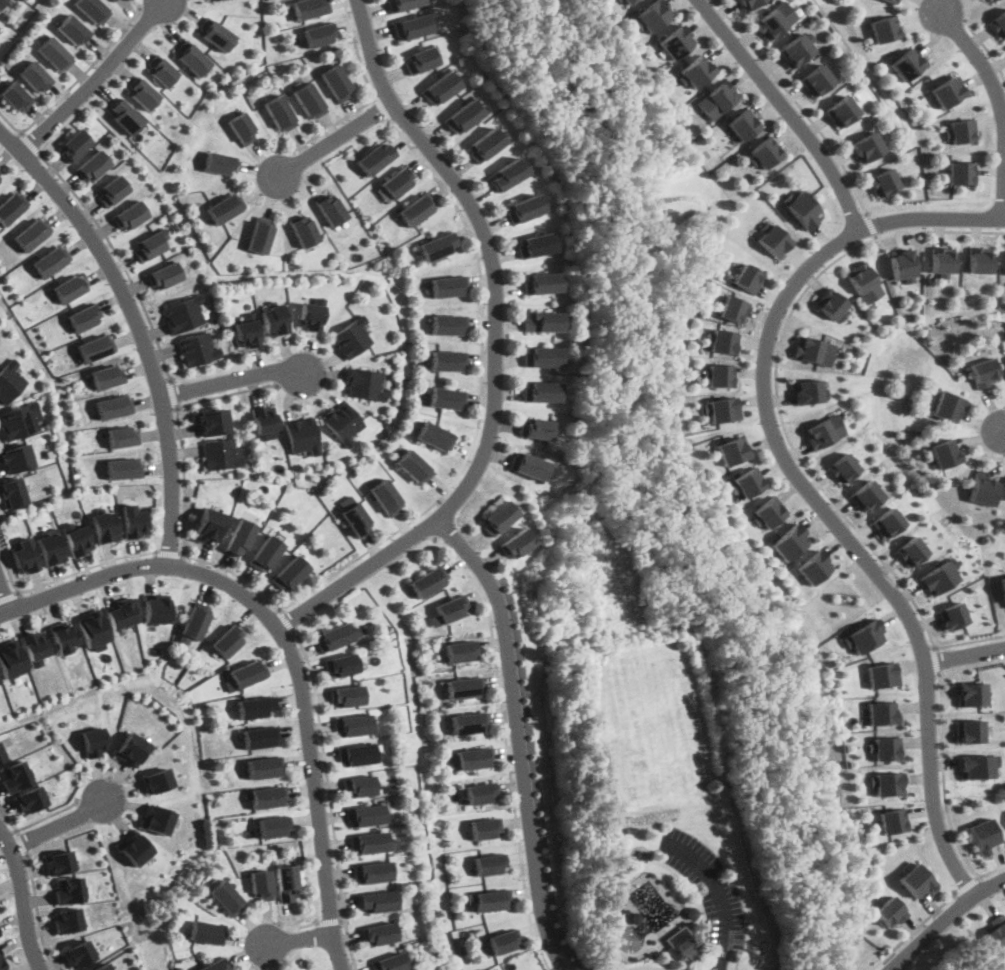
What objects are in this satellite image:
building: (213, 0)
building: (894, 0)
building: (991, 0)
building: (114, 2)
building: (628, 2)
building: (3, 4)
building: (748, 4)
building: (308, 8)
building: (403, 8)
building: (91, 14)
building: (652, 16)
building: (775, 20)
building: (999, 24)
building: (883, 28)
building: (318, 34)
building: (412, 34)
building: (73, 37)
building: (219, 40)
building: (676, 42)
road: (986, 47)
building: (796, 50)
building: (54, 58)
road: (980, 59)
building: (194, 62)
building: (908, 63)
building: (419, 65)
building: (696, 71)
road: (84, 72)
building: (162, 72)
road: (94, 79)
building: (817, 80)
building: (32, 83)
building: (336, 88)
building: (948, 91)
building: (439, 93)
road: (373, 96)
building: (716, 100)
building: (144, 101)
building: (12, 103)
building: (307, 103)
road: (799, 104)
road: (383, 108)
road: (786, 110)
building: (841, 111)
building: (277, 118)
building: (127, 121)
building: (461, 121)
road: (9, 124)
building: (741, 125)
building: (961, 129)
building: (240, 132)
road: (335, 140)
building: (76, 142)
road: (30, 144)
building: (867, 147)
building: (483, 148)
building: (763, 153)
building: (95, 163)
building: (374, 165)
building: (220, 170)
building: (961, 172)
building: (1, 174)
building: (506, 178)
building: (884, 181)
building: (398, 186)
building: (115, 187)
building: (11, 207)
building: (800, 209)
building: (133, 212)
building: (523, 212)
building: (223, 213)
building: (415, 213)
building: (330, 214)
road: (931, 219)
road: (872, 226)
building: (29, 235)
building: (304, 236)
building: (771, 238)
building: (259, 239)
building: (151, 242)
building: (534, 250)
building: (437, 251)
building: (943, 258)
road: (121, 259)
building: (981, 259)
building: (50, 264)
building: (903, 264)
building: (166, 272)
building: (747, 277)
building: (864, 281)
building: (447, 287)
building: (539, 288)
building: (70, 292)
building: (832, 305)
building: (733, 308)
building: (309, 313)
building: (184, 316)
building: (274, 317)
building: (85, 319)
building: (541, 326)
road: (140, 328)
building: (446, 328)
building: (246, 329)
building: (722, 340)
building: (352, 343)
road: (493, 346)
building: (814, 349)
building: (97, 351)
building: (199, 356)
building: (539, 359)
building: (447, 365)
building: (983, 371)
building: (720, 374)
road: (229, 380)
building: (109, 382)
building: (364, 384)
building: (10, 386)
building: (809, 390)
road: (175, 393)
building: (541, 398)
building: (446, 403)
building: (948, 405)
building: (719, 408)
building: (114, 413)
road: (781, 415)
building: (212, 418)
building: (265, 420)
building: (342, 421)
building: (22, 426)
road: (180, 429)
building: (824, 430)
building: (301, 432)
building: (539, 432)
road: (1004, 433)
building: (435, 443)
building: (123, 444)
road: (468, 449)
building: (732, 449)
building: (220, 452)
building: (943, 452)
building: (19, 465)
building: (414, 467)
building: (843, 467)
building: (528, 471)
building: (123, 476)
building: (746, 481)
road: (660, 487)
building: (983, 490)
building: (866, 494)
building: (384, 495)
building: (13, 503)
building: (767, 512)
building: (500, 515)
building: (134, 518)
building: (357, 518)
building: (887, 522)
building: (104, 523)
road: (423, 527)
building: (210, 533)
building: (76, 537)
building: (515, 541)
building: (789, 541)
road: (849, 544)
building: (241, 545)
building: (50, 546)
building: (911, 550)
road: (173, 551)
building: (24, 553)
building: (266, 561)
building: (812, 567)
building: (939, 576)
road: (64, 577)
building: (428, 578)
building: (292, 582)
building: (1003, 588)
road: (10, 596)
road: (5, 597)
building: (449, 607)
road: (6, 614)
building: (952, 614)
building: (156, 618)
building: (123, 621)
road: (287, 622)
building: (197, 623)
building: (96, 634)
building: (340, 635)
building: (861, 636)
building: (229, 640)
building: (66, 644)
building: (460, 651)
road: (290, 655)
building: (37, 656)
road: (964, 658)
road: (937, 660)
building: (350, 663)
building: (12, 670)
building: (247, 673)
building: (879, 674)
building: (0, 689)
building: (970, 692)
building: (347, 695)
building: (461, 696)
building: (258, 705)
building: (348, 706)
building: (880, 712)
building: (402, 714)
building: (351, 724)
building: (970, 730)
building: (466, 732)
building: (262, 737)
building: (352, 737)
road: (515, 739)
road: (504, 747)
building: (882, 747)
building: (95, 749)
building: (1, 757)
building: (134, 758)
building: (358, 764)
building: (977, 765)
building: (265, 766)
building: (470, 768)
building: (14, 776)
building: (885, 782)
building: (162, 789)
road: (945, 793)
building: (362, 796)
building: (28, 800)
building: (478, 801)
road: (329, 802)
building: (268, 806)
building: (364, 814)
building: (889, 820)
road: (36, 822)
building: (273, 826)
building: (366, 828)
road: (59, 829)
building: (161, 829)
building: (983, 834)
building: (483, 837)
building: (275, 839)
road: (22, 842)
building: (367, 842)
building: (370, 855)
building: (139, 860)
building: (59, 861)
building: (371, 871)
building: (488, 873)
building: (916, 880)
building: (374, 883)
road: (968, 885)
building: (70, 889)
building: (290, 894)
road: (718, 894)
building: (265, 896)
building: (225, 897)
road: (22, 900)
building: (376, 900)
building: (490, 909)
building: (228, 912)
building: (888, 912)
road: (39, 913)
building: (378, 913)
building: (69, 919)
road: (945, 920)
road: (332, 921)
road: (298, 927)
building: (0, 931)
road: (913, 931)
building: (206, 932)
building: (996, 932)
building: (0, 933)
building: (379, 933)
road: (300, 940)
building: (679, 942)
building: (209, 945)
building: (381, 945)
building: (503, 952)
building: (79, 953)
road: (730, 960)
building: (2, 961)
building: (102, 967)
building: (391, 967)
road: (652, 967)
building: (224, 968)

